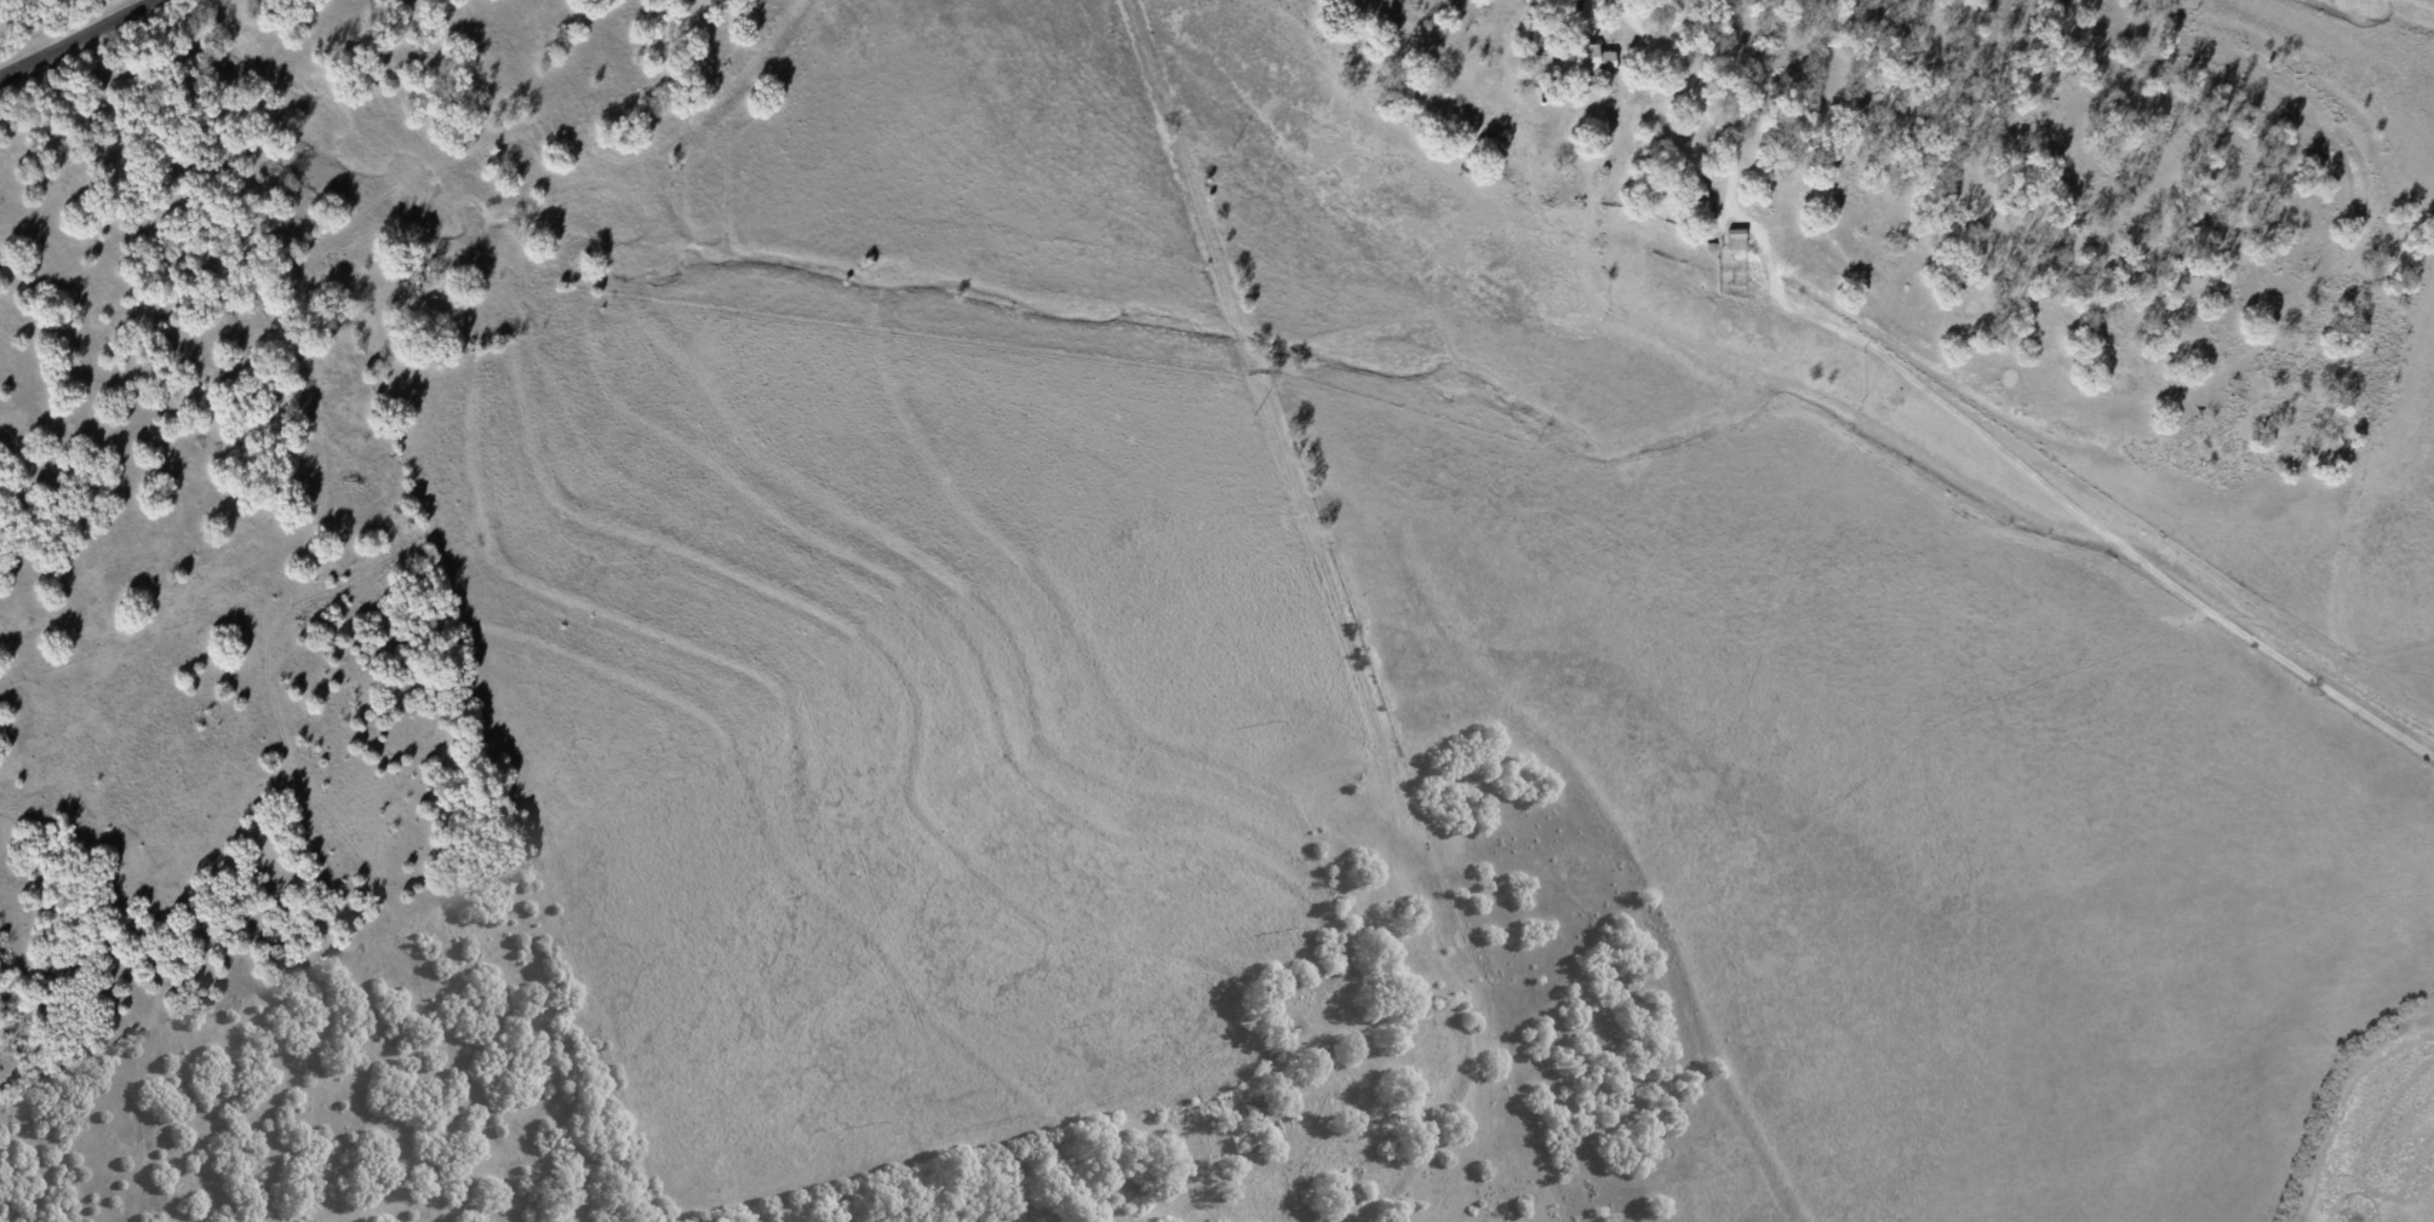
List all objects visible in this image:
road: (80, 41)
building: (1593, 58)
building: (1542, 62)
road: (1686, 85)

